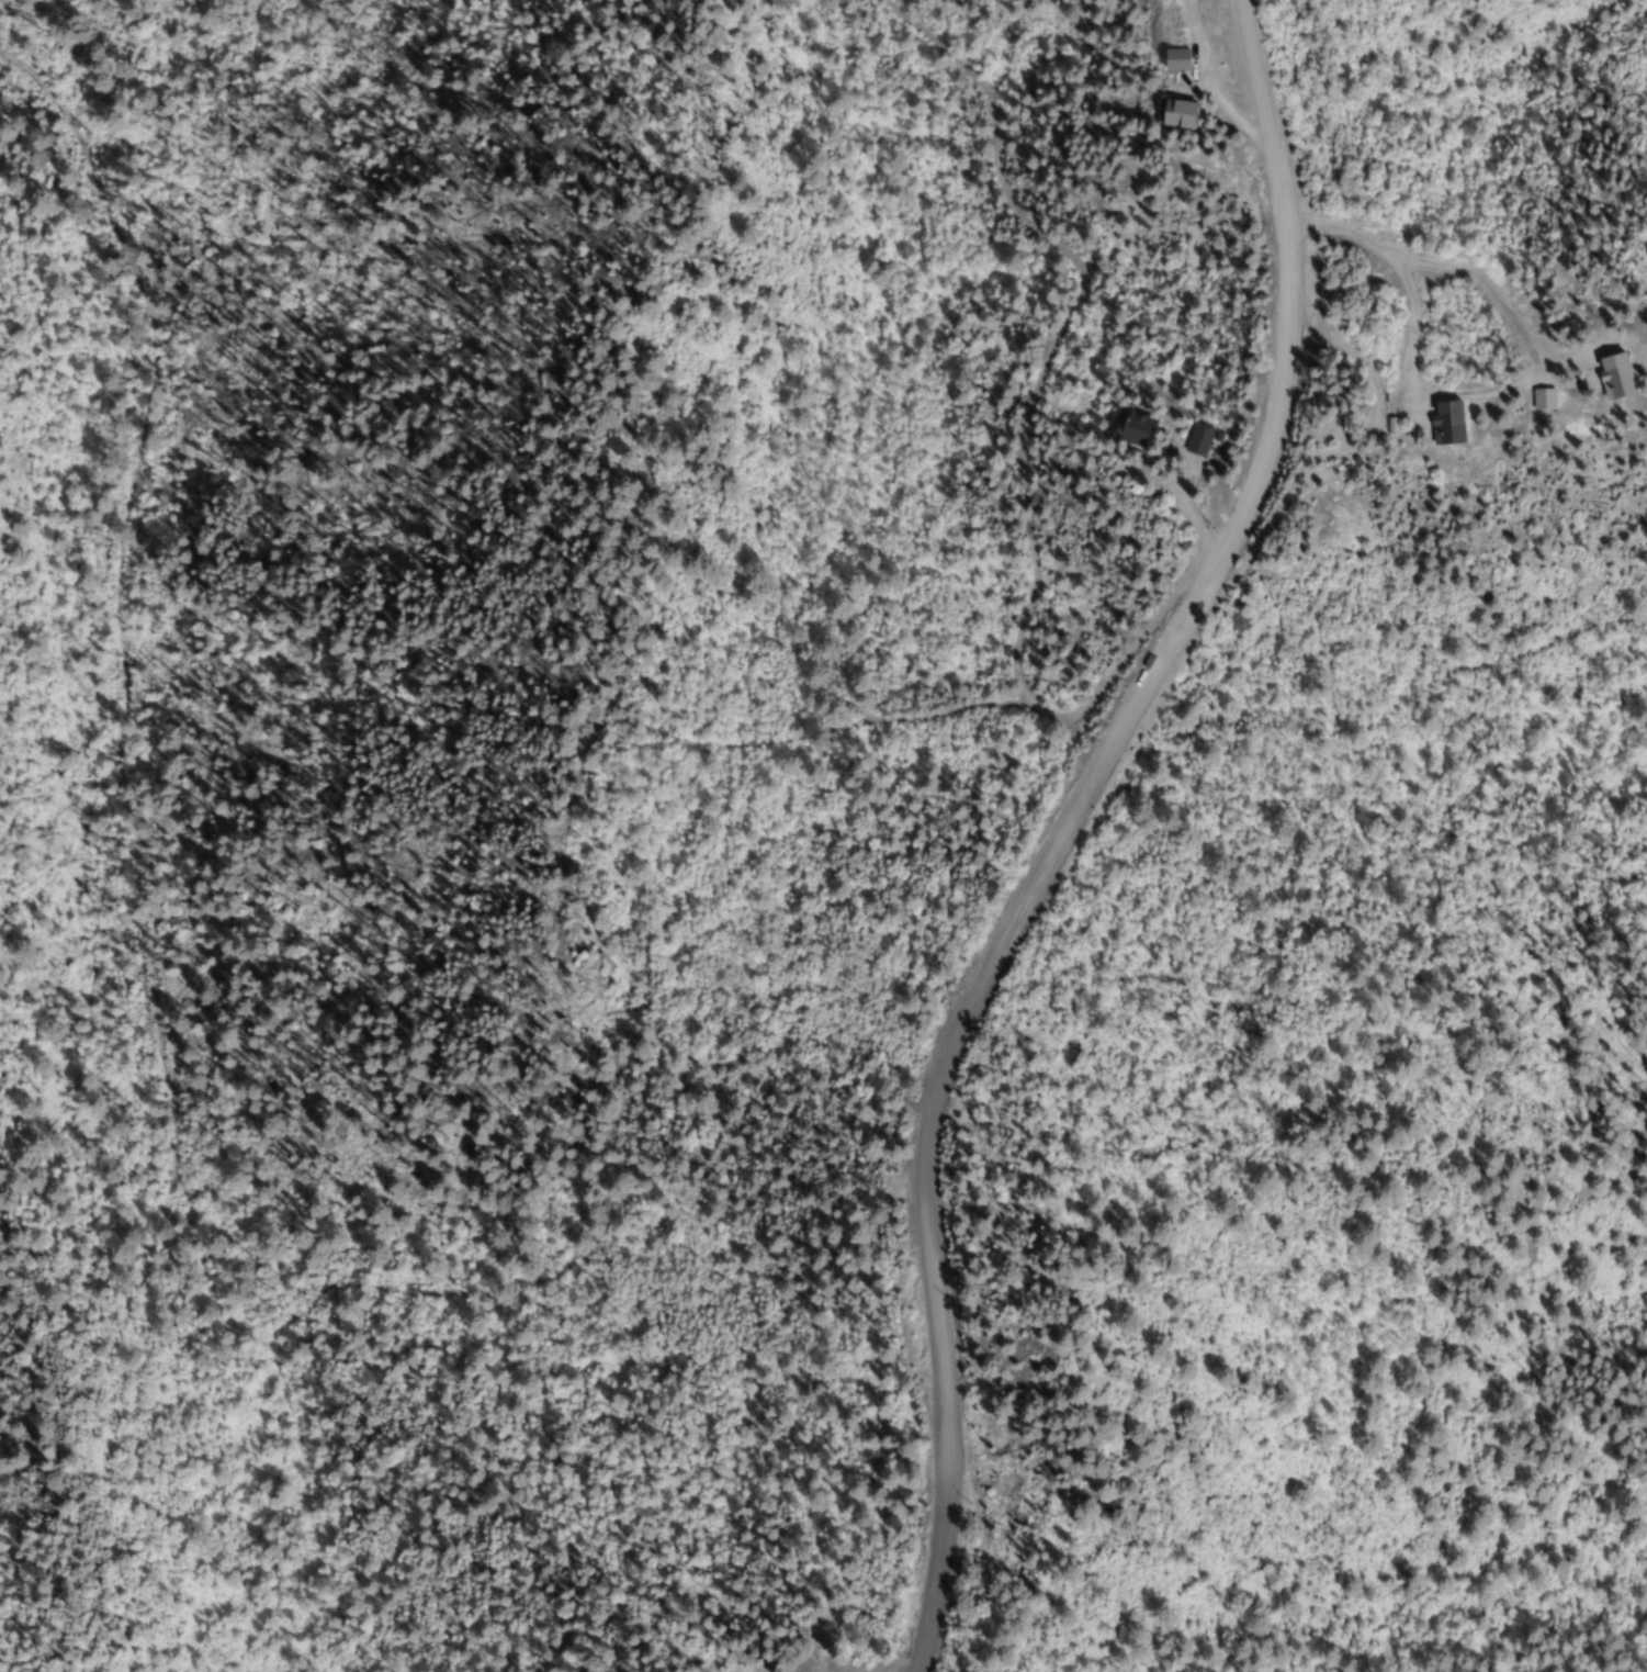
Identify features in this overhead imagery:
road: (1210, 79)
building: (1180, 112)
road: (1479, 279)
road: (1406, 288)
building: (1616, 375)
building: (1544, 399)
building: (1448, 422)
building: (1135, 427)
road: (1026, 430)
building: (1199, 439)
road: (1062, 826)
road: (892, 1669)

